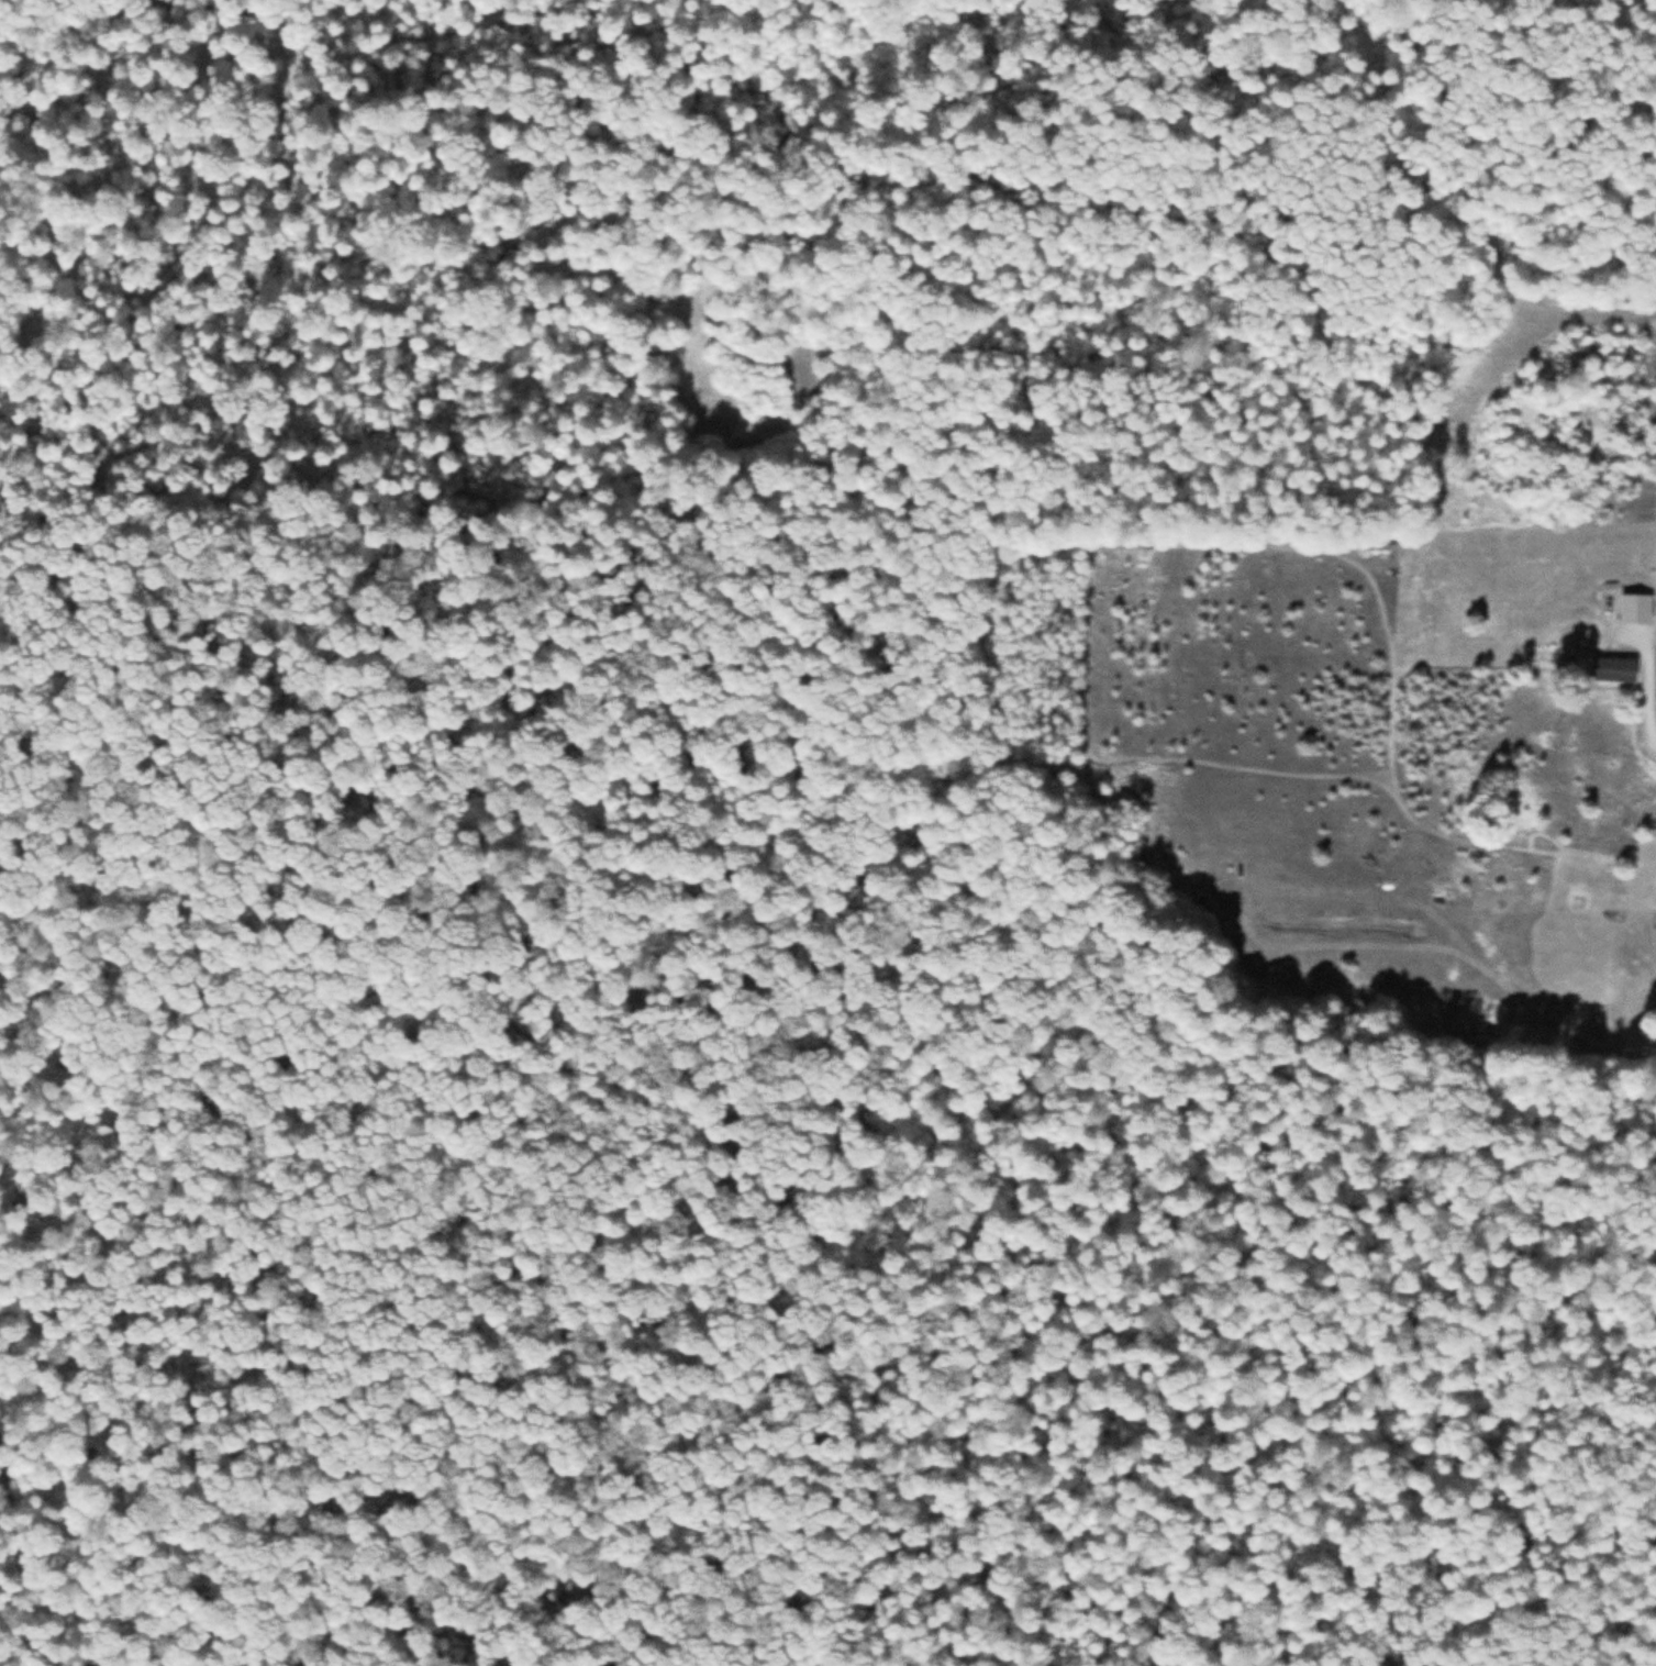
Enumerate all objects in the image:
road: (149, 1)
road: (67, 56)
building: (1379, 542)
building: (1613, 668)
road: (1424, 1223)
road: (18, 1569)

